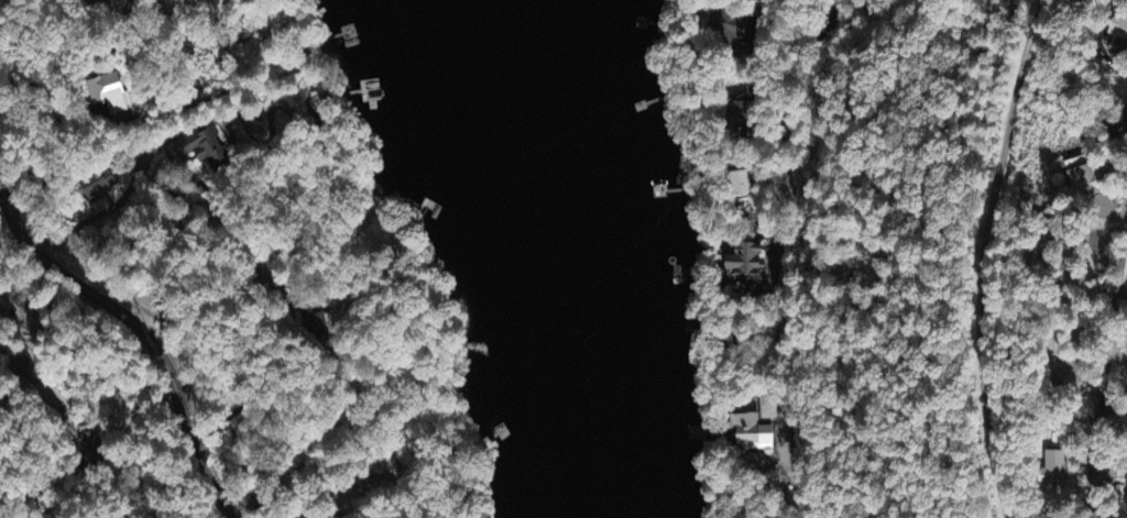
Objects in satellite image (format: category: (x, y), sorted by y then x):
building: (725, 30)
building: (1120, 36)
road: (811, 38)
road: (57, 57)
road: (792, 93)
building: (105, 95)
building: (738, 118)
building: (207, 150)
road: (8, 167)
building: (1087, 183)
building: (95, 185)
building: (740, 185)
road: (775, 239)
road: (982, 256)
river: (606, 258)
building: (747, 265)
building: (320, 327)
road: (140, 332)
road: (1105, 374)
building: (752, 434)
building: (1055, 470)

